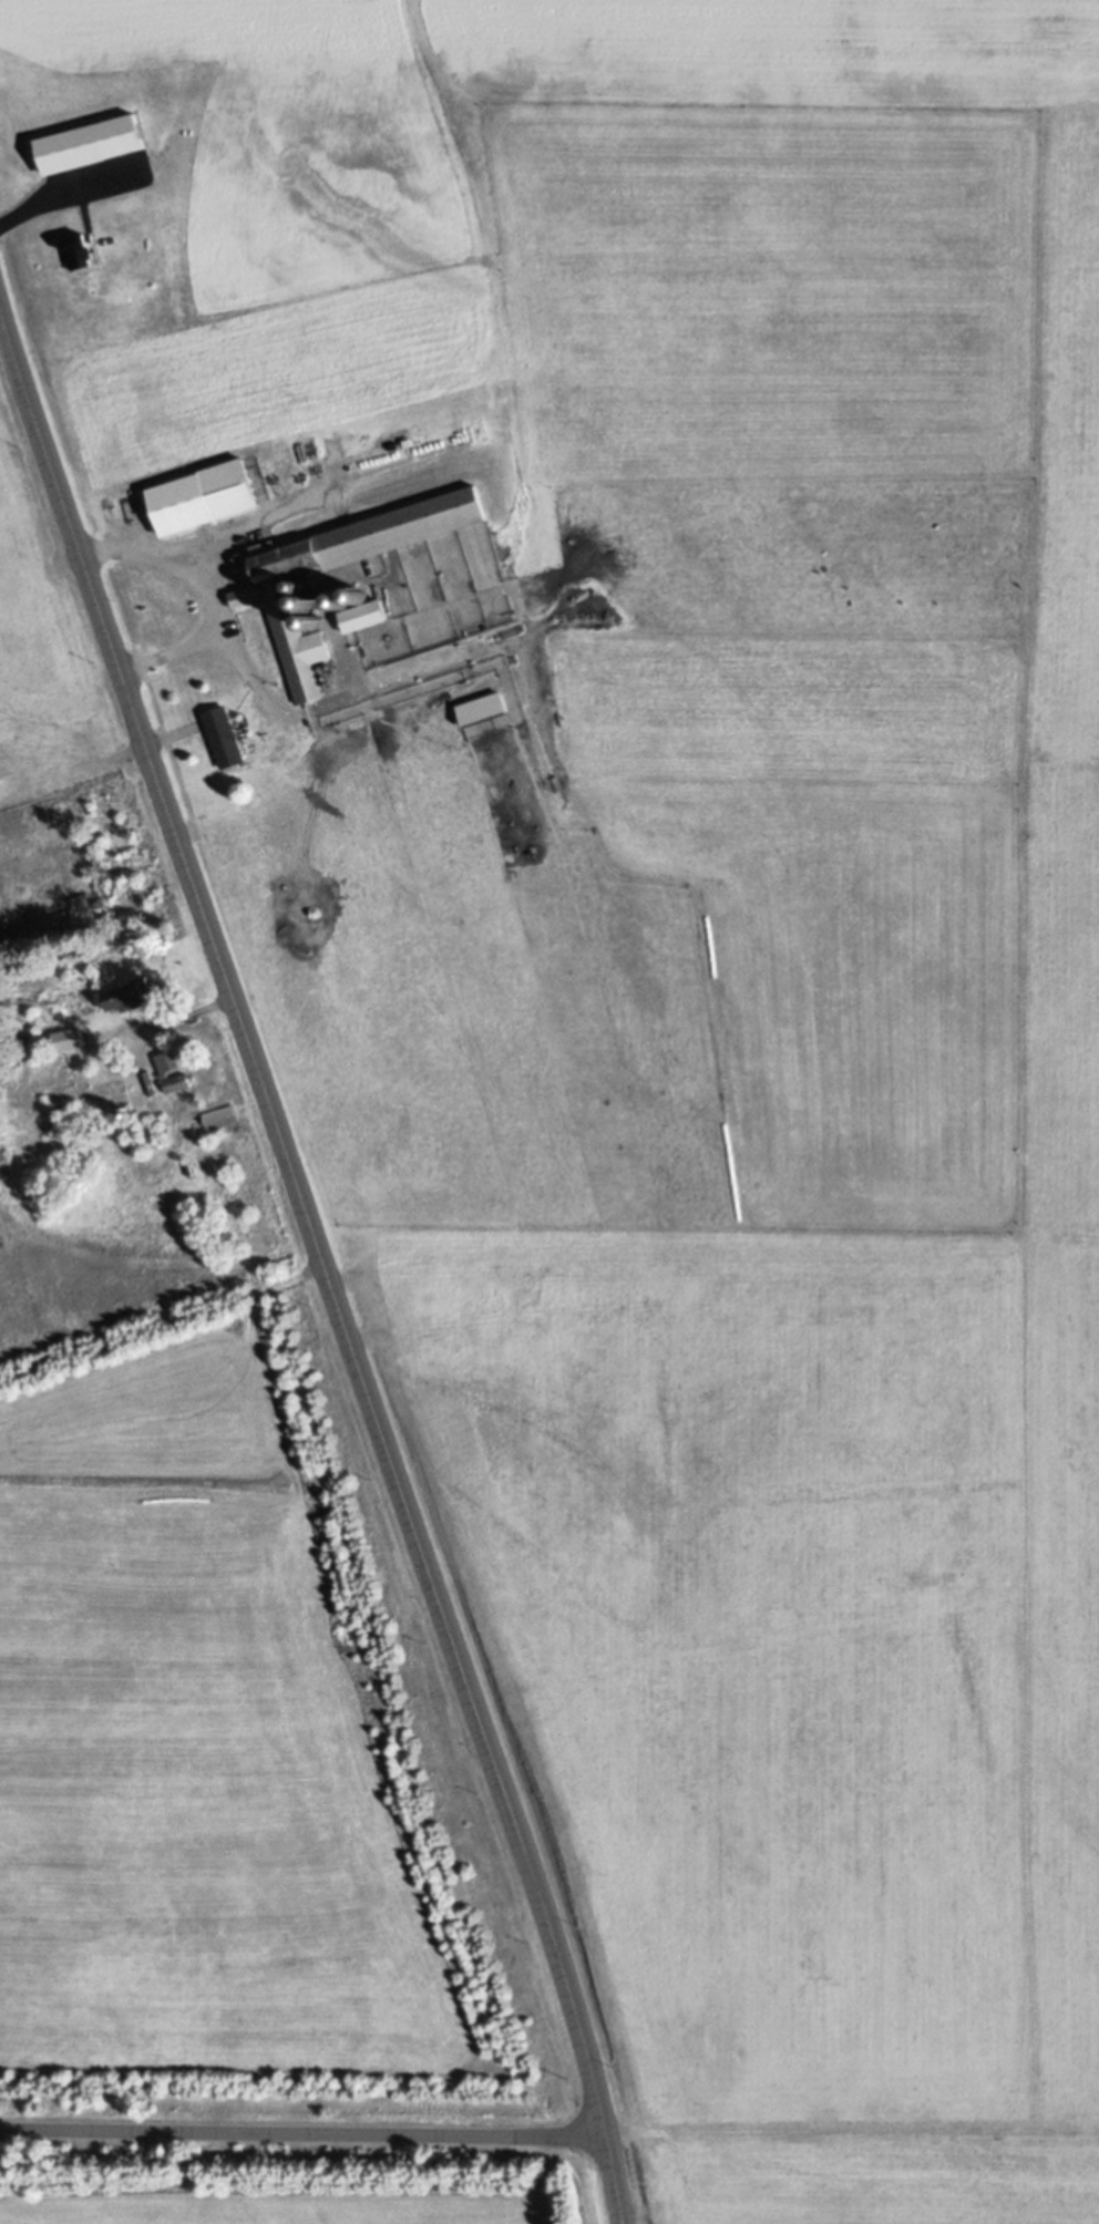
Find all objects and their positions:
building: (96, 154)
building: (83, 260)
building: (208, 506)
building: (264, 605)
building: (368, 620)
building: (487, 717)
building: (227, 747)
building: (132, 1005)
building: (171, 1070)
building: (224, 1126)
road: (319, 1268)
building: (477, 1367)
road: (304, 2130)

